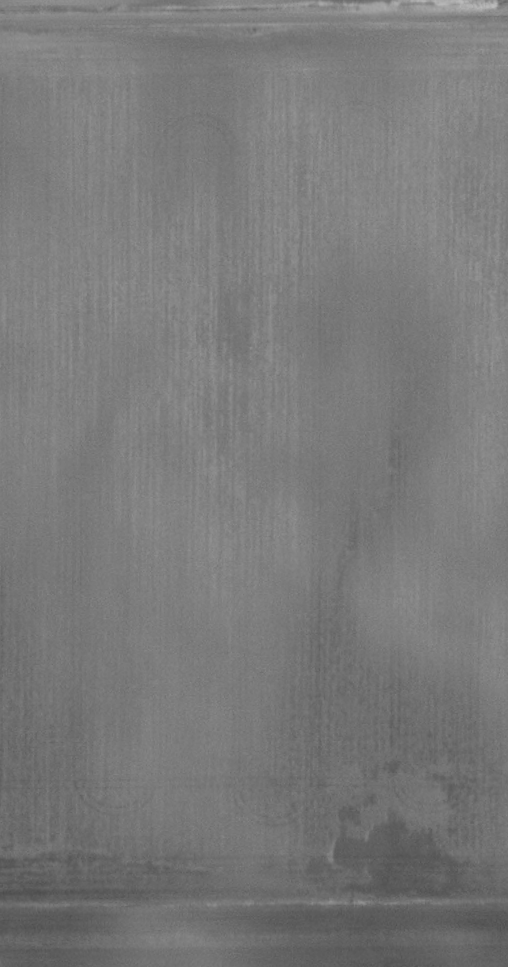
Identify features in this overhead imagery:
road: (254, 17)

